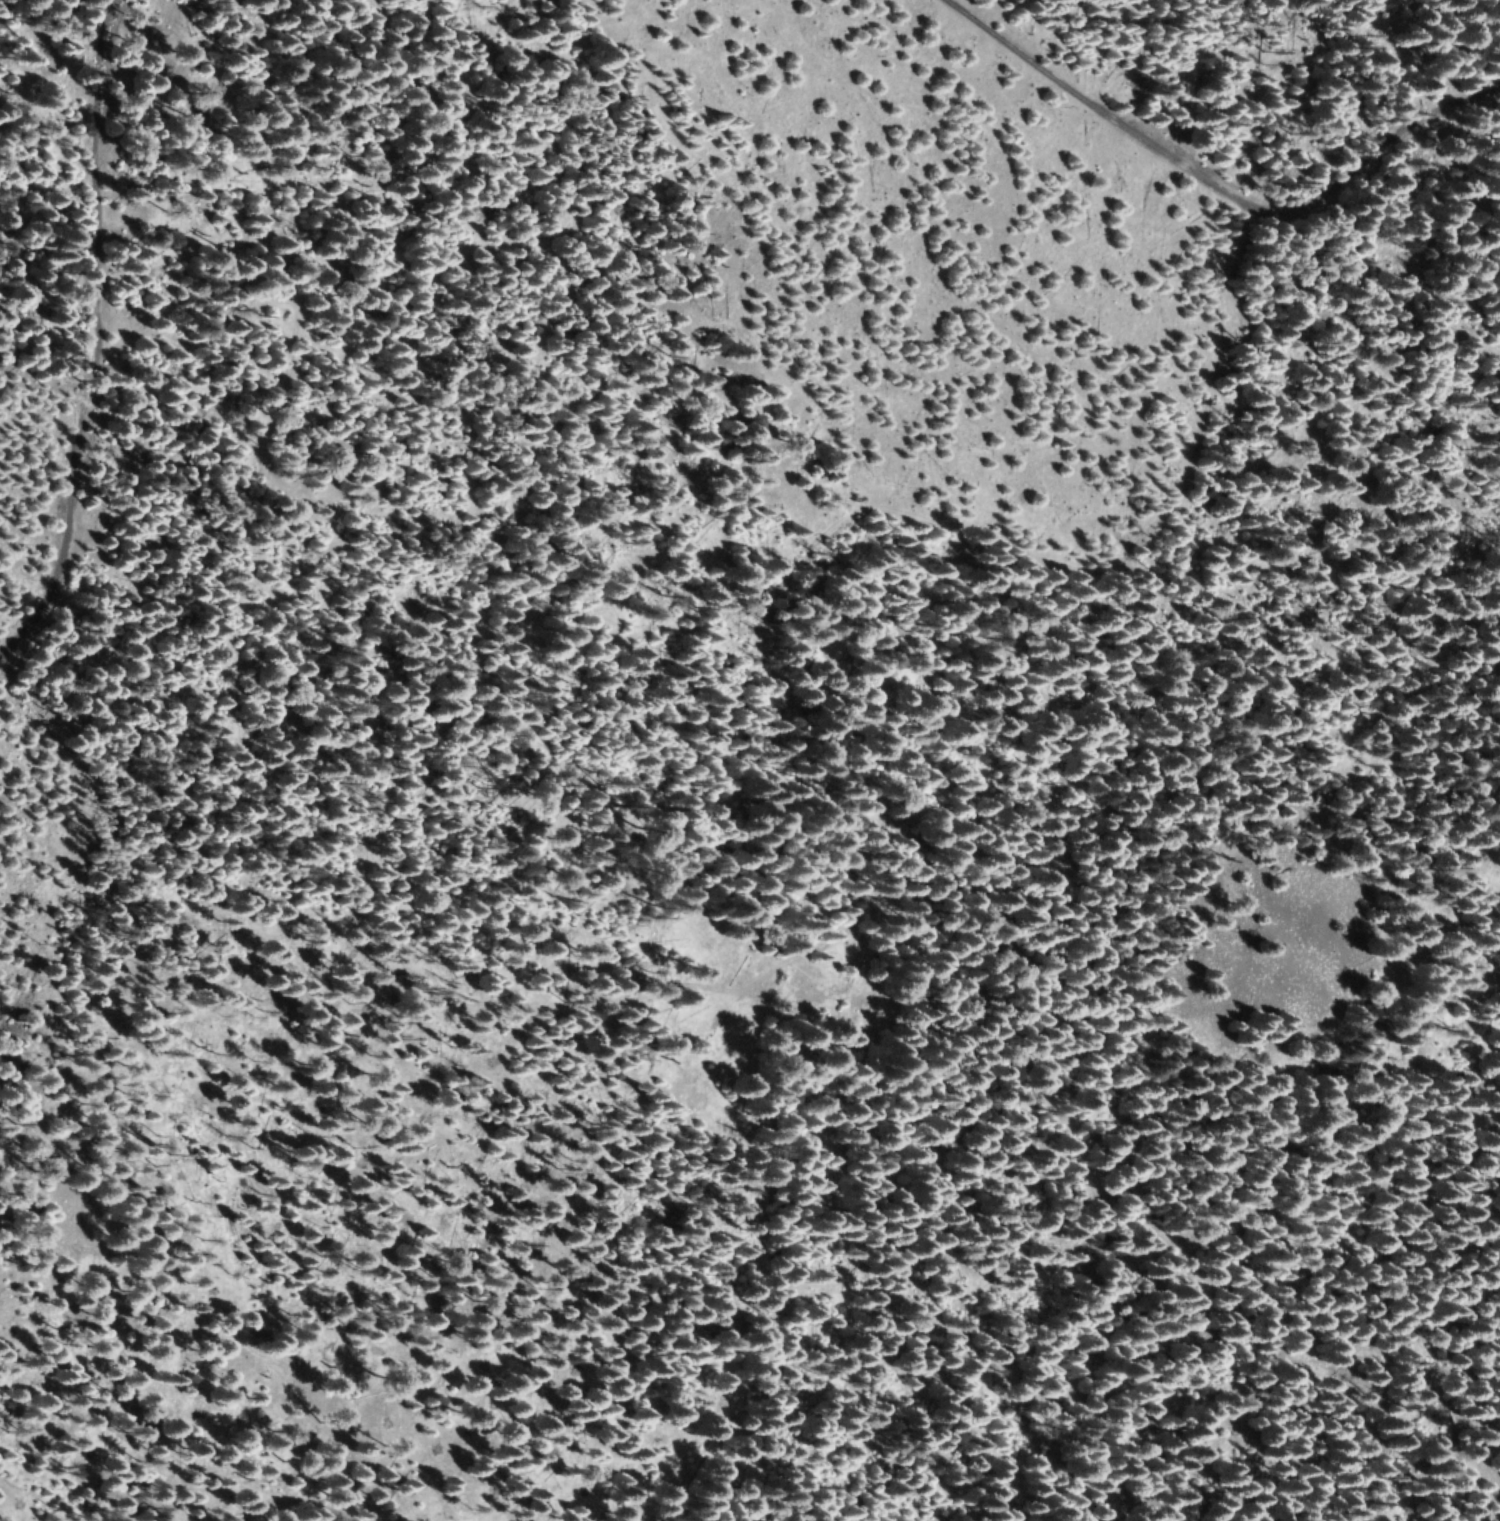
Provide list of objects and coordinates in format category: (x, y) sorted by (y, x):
road: (1195, 157)
road: (56, 242)
road: (264, 1516)

